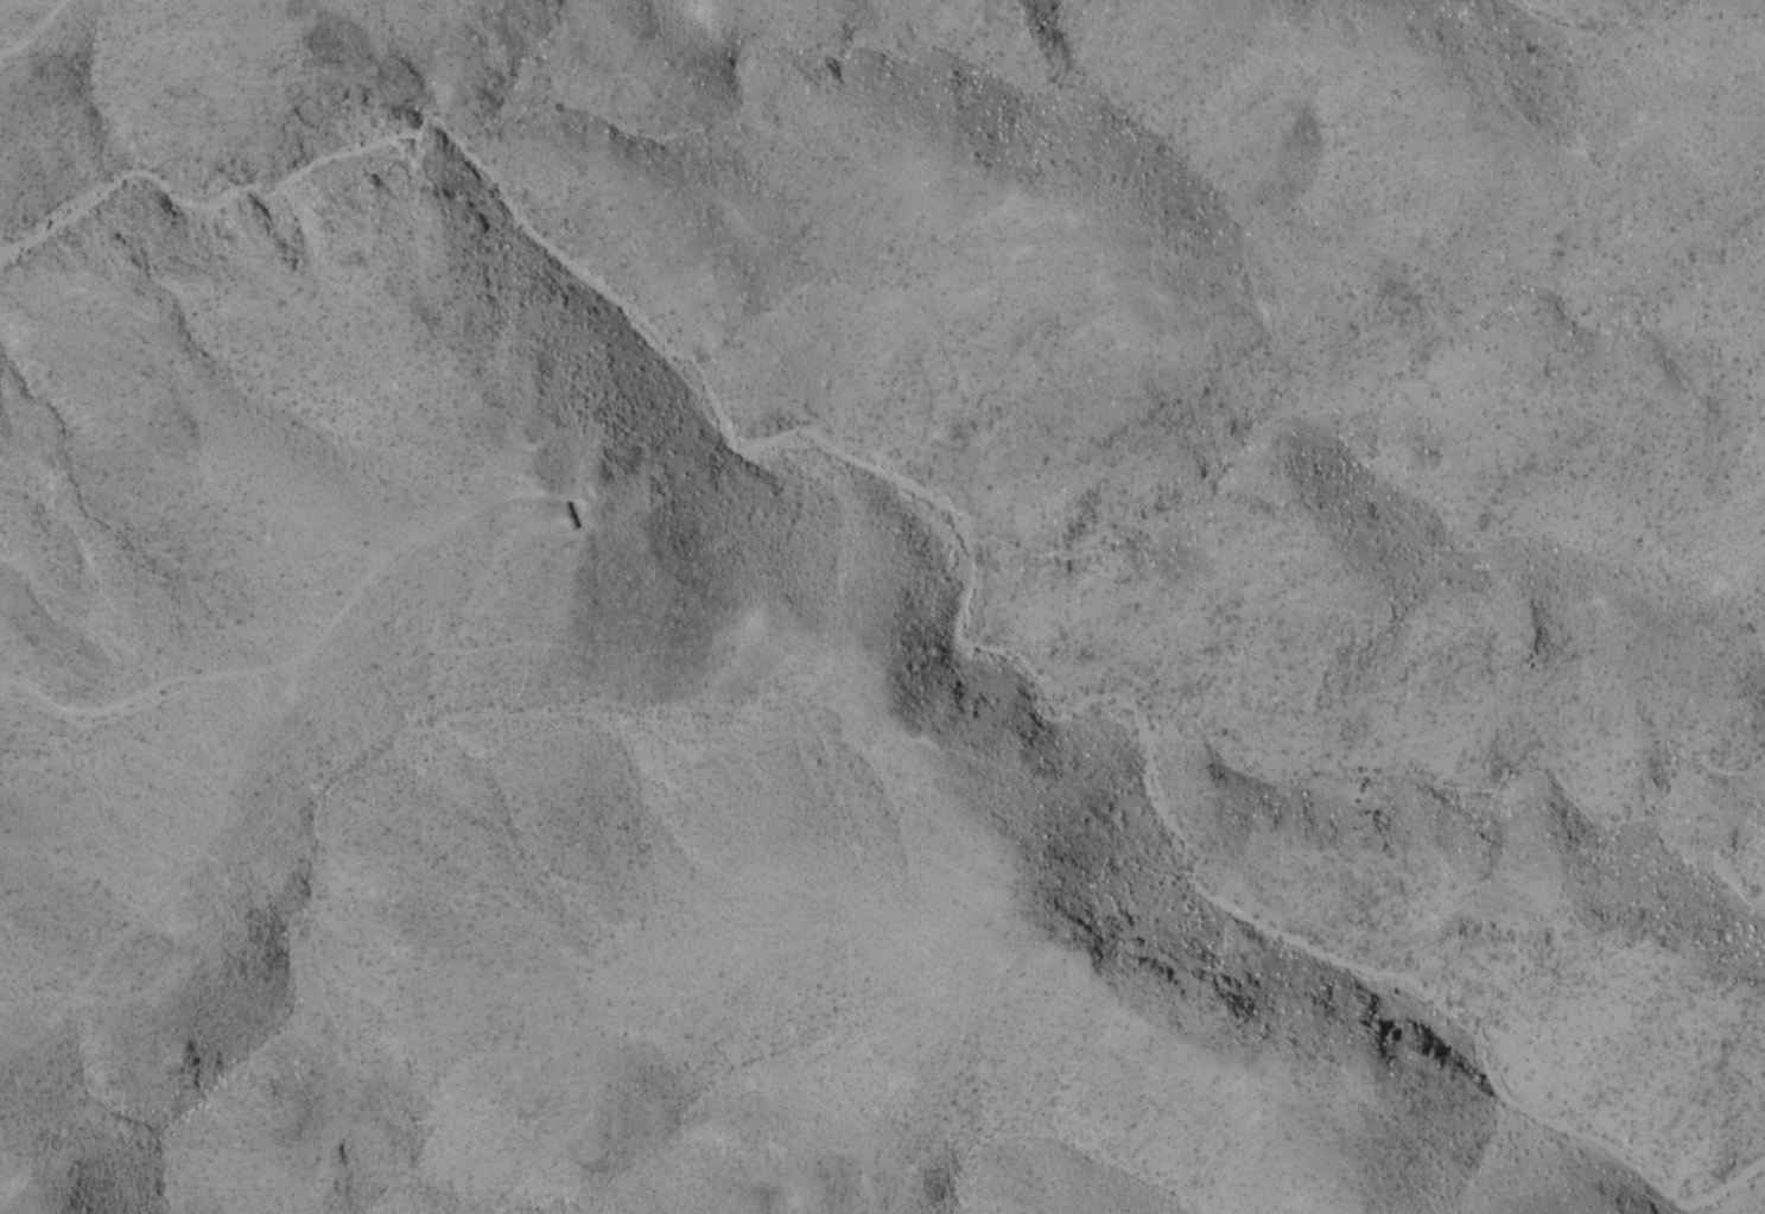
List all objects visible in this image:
road: (34, 31)
road: (291, 661)

